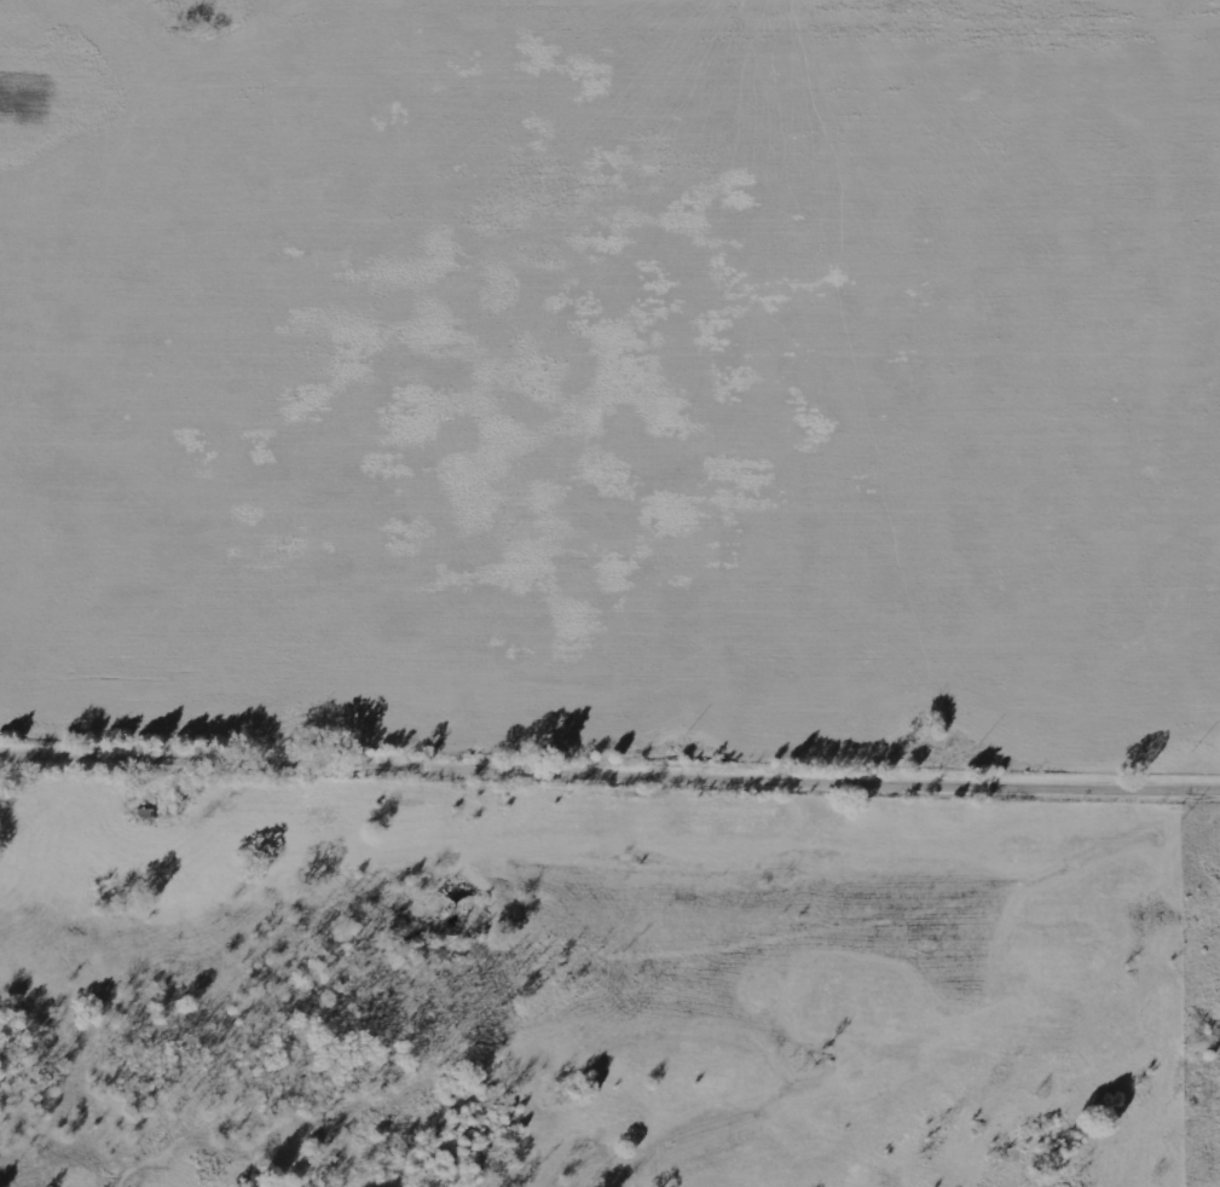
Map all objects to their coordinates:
road: (609, 777)

